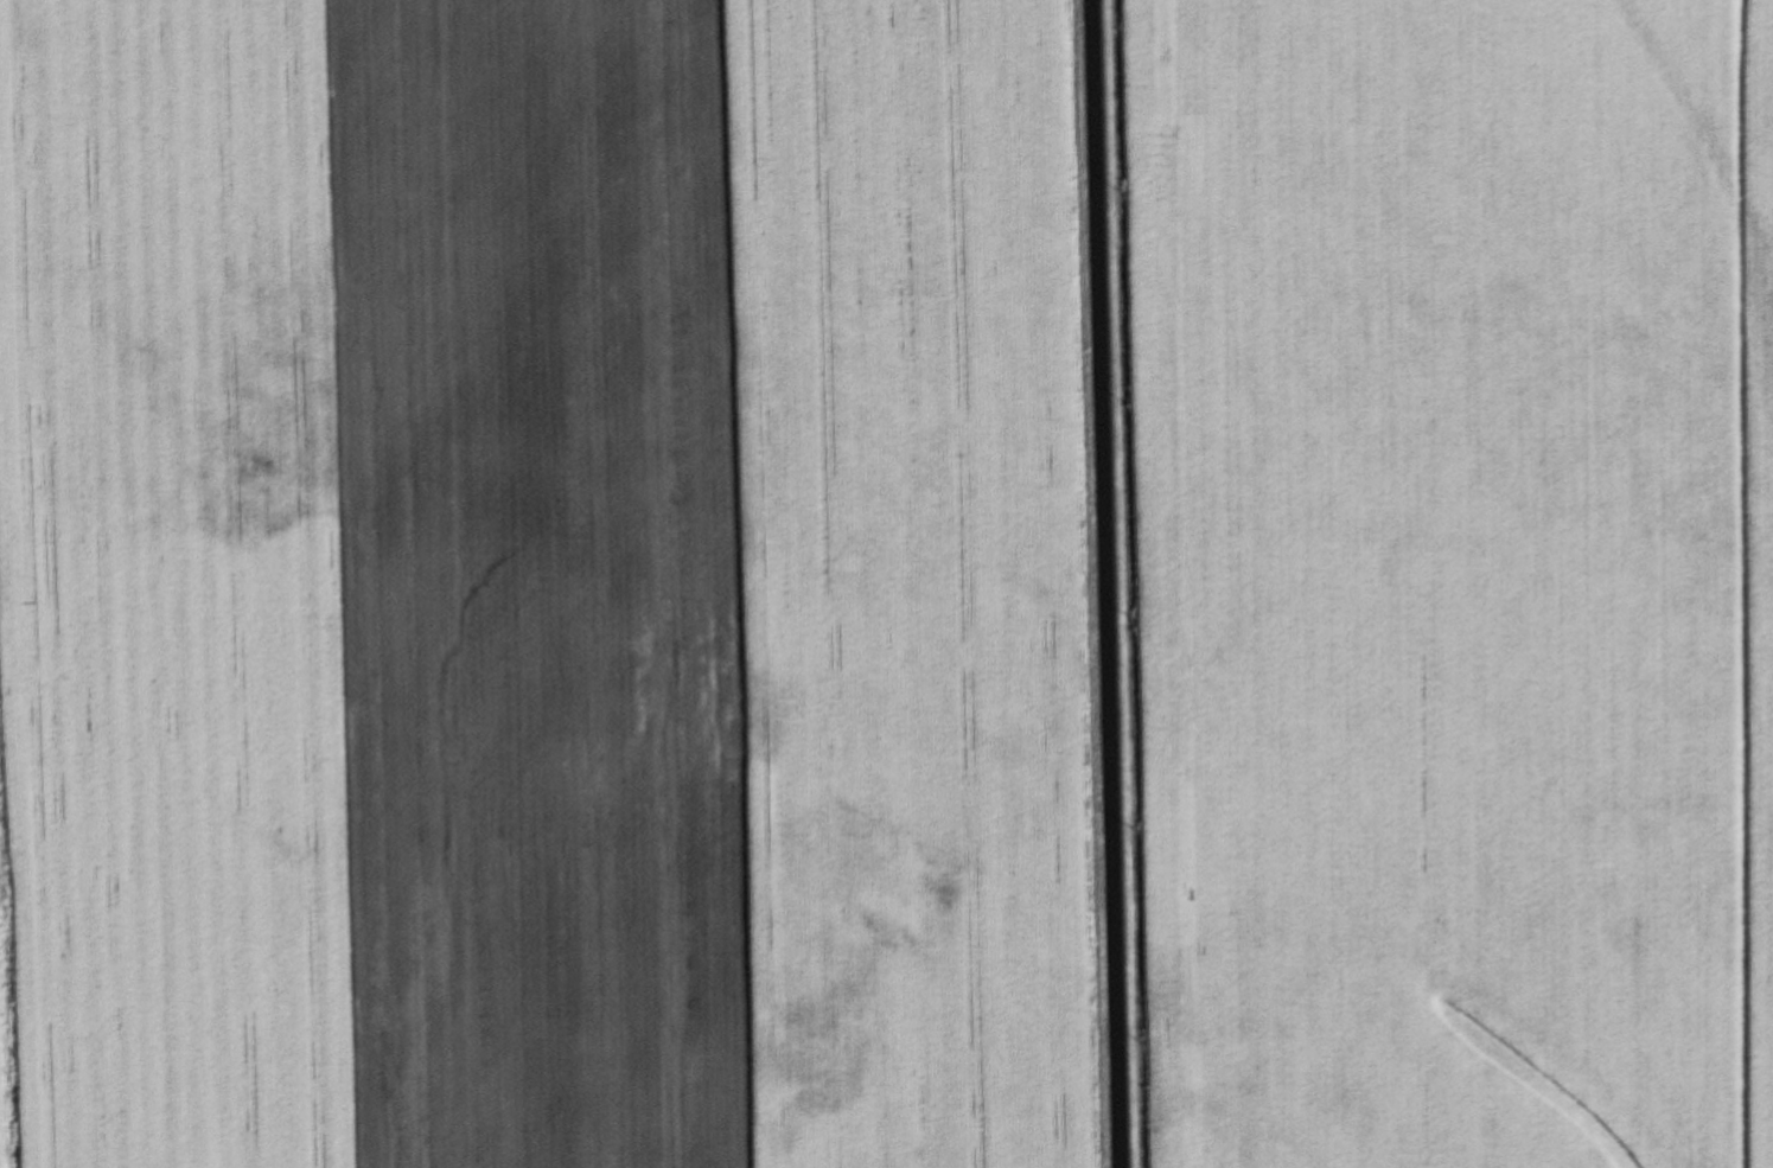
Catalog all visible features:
road: (1110, 583)

